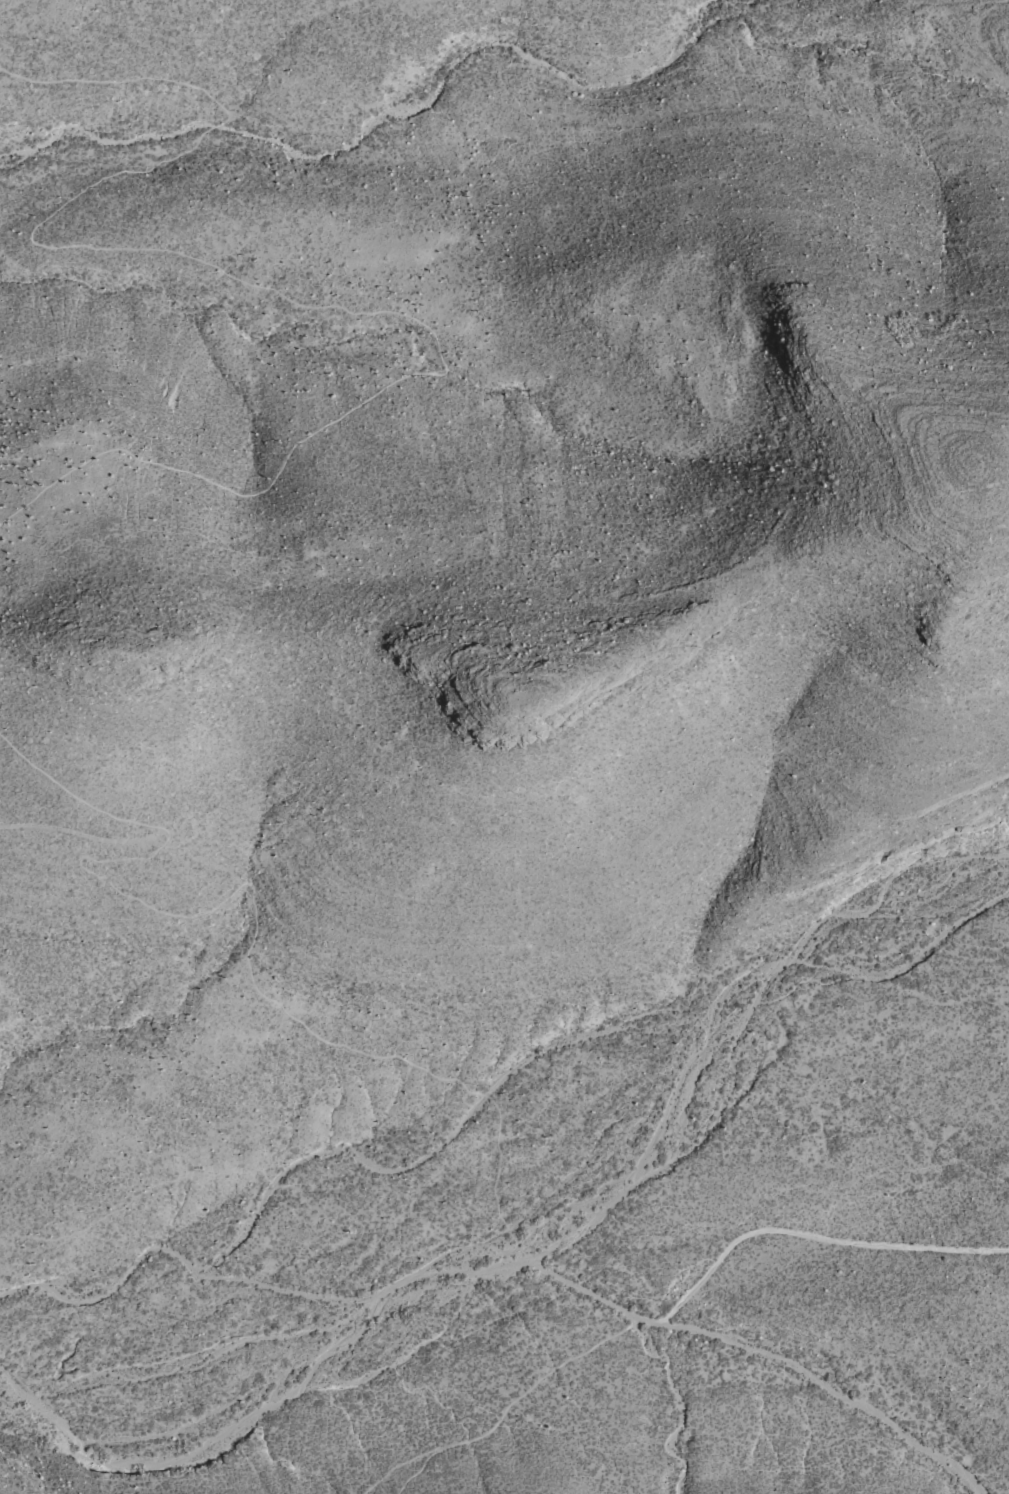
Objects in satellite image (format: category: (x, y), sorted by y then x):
road: (203, 276)
road: (1004, 1047)
road: (448, 1083)
road: (804, 1233)

